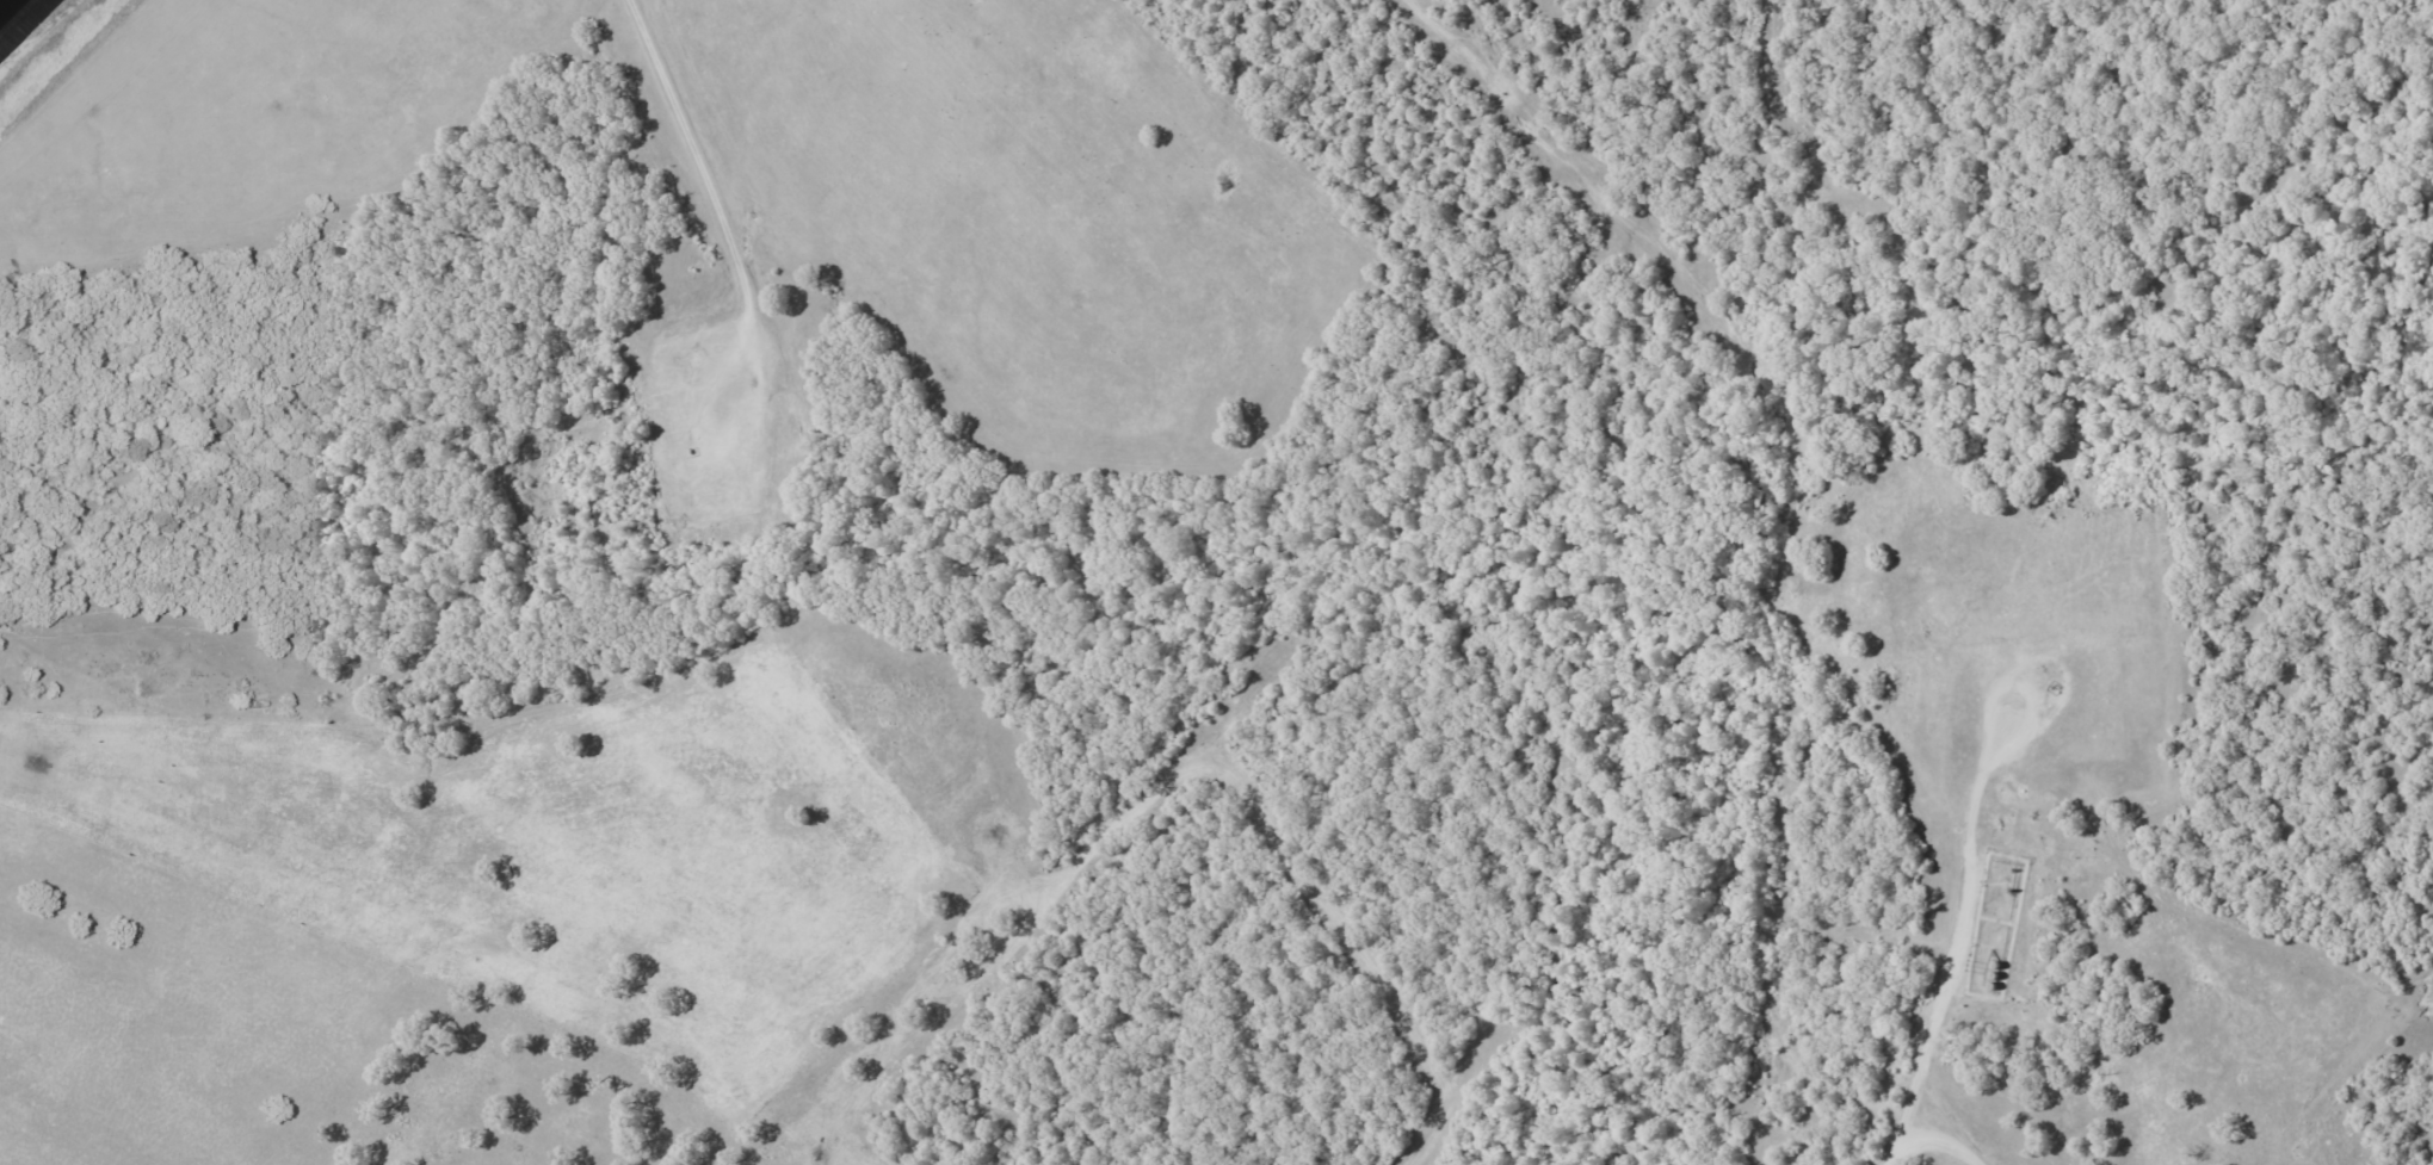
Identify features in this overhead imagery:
petroleum well: (679, 451)

